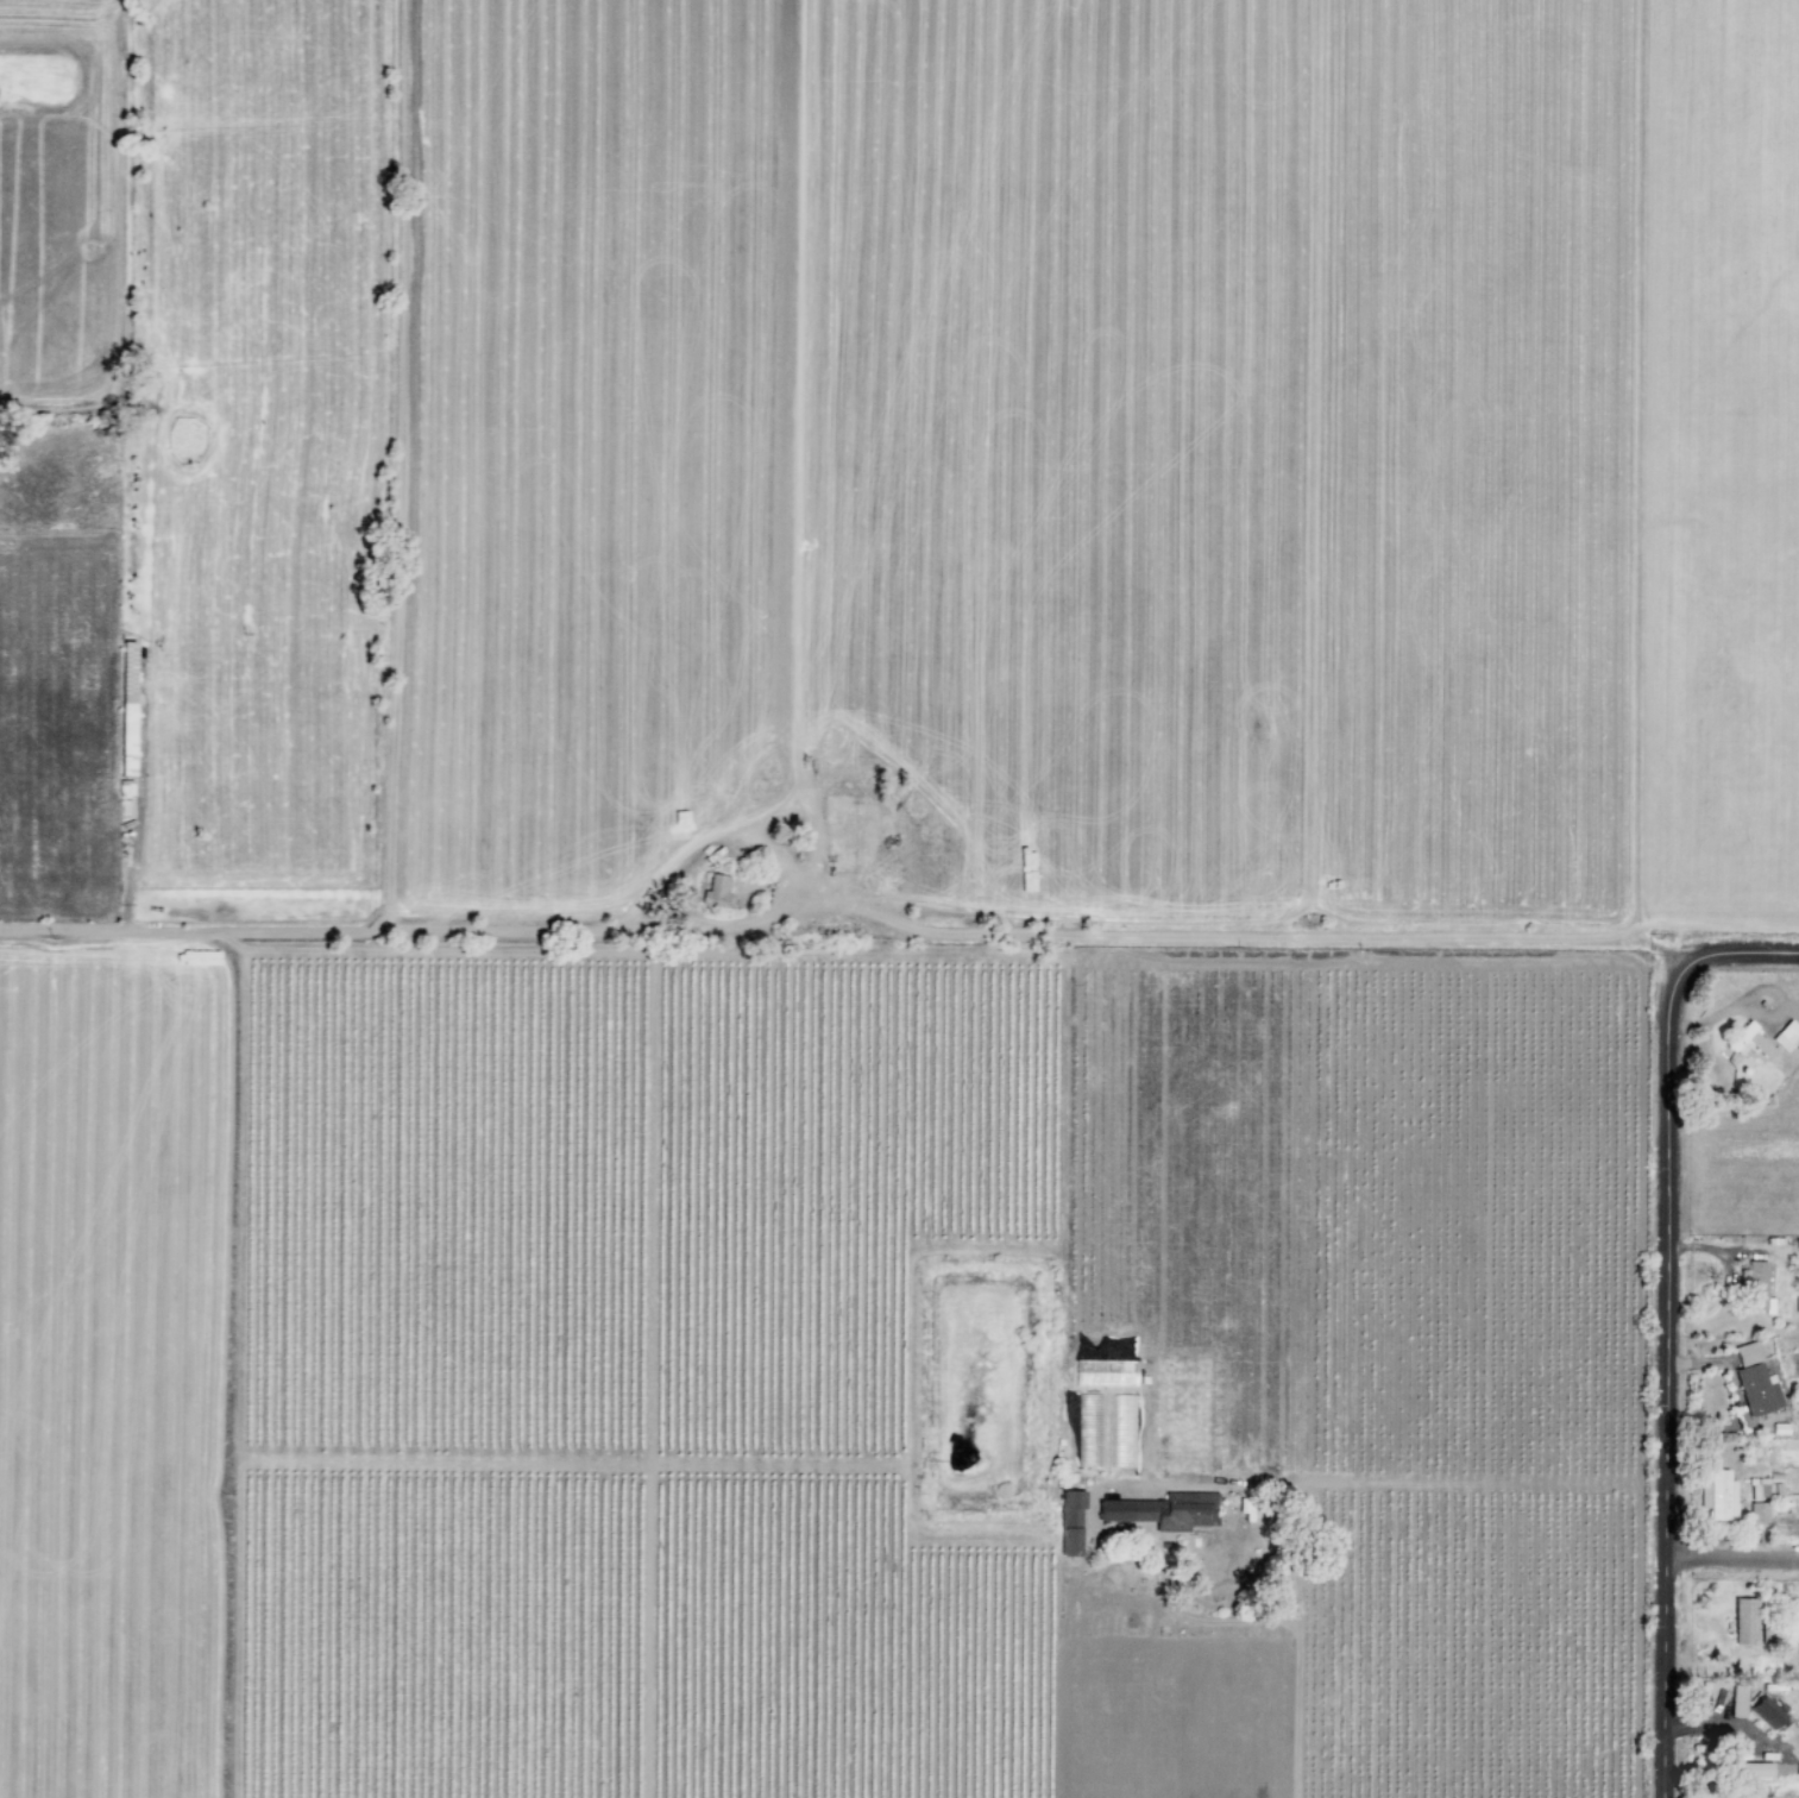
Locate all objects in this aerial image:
building: (718, 892)
road: (842, 954)
building: (1787, 1037)
building: (1749, 1043)
road: (1672, 1326)
road: (239, 1366)
road: (652, 1373)
building: (1756, 1382)
building: (1719, 1497)
building: (1162, 1513)
building: (1071, 1524)
road: (1734, 1563)
building: (1745, 1623)
road: (1302, 1697)
building: (1768, 1714)
building: (1755, 1772)

